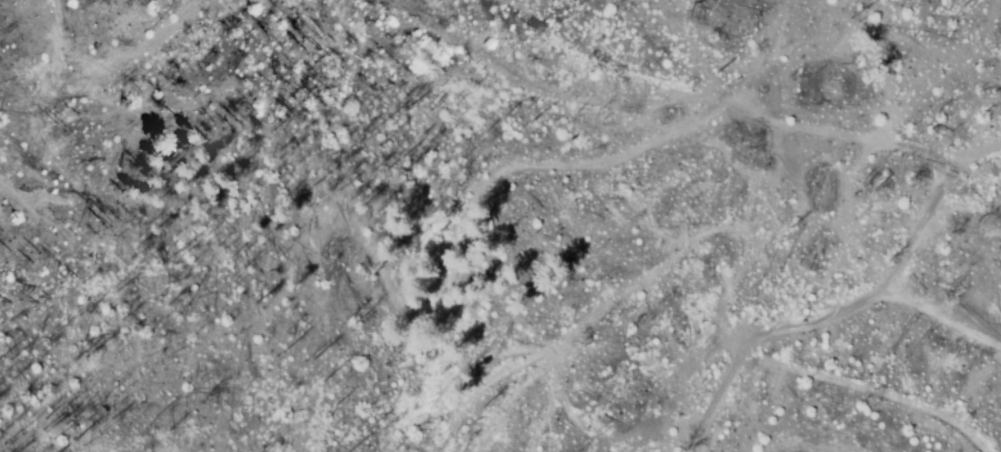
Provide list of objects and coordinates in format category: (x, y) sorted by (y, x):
road: (850, 304)

